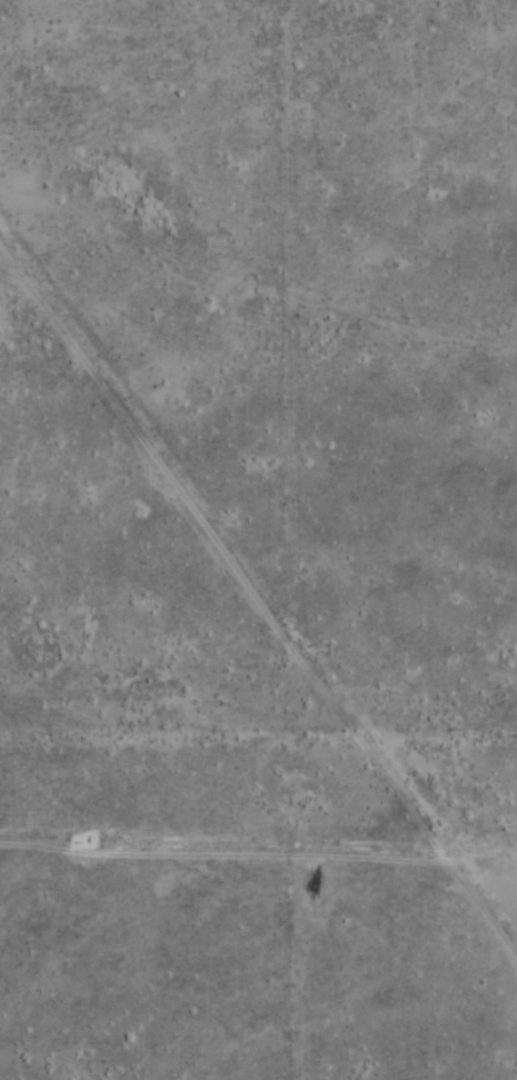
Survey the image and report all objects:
road: (258, 681)

